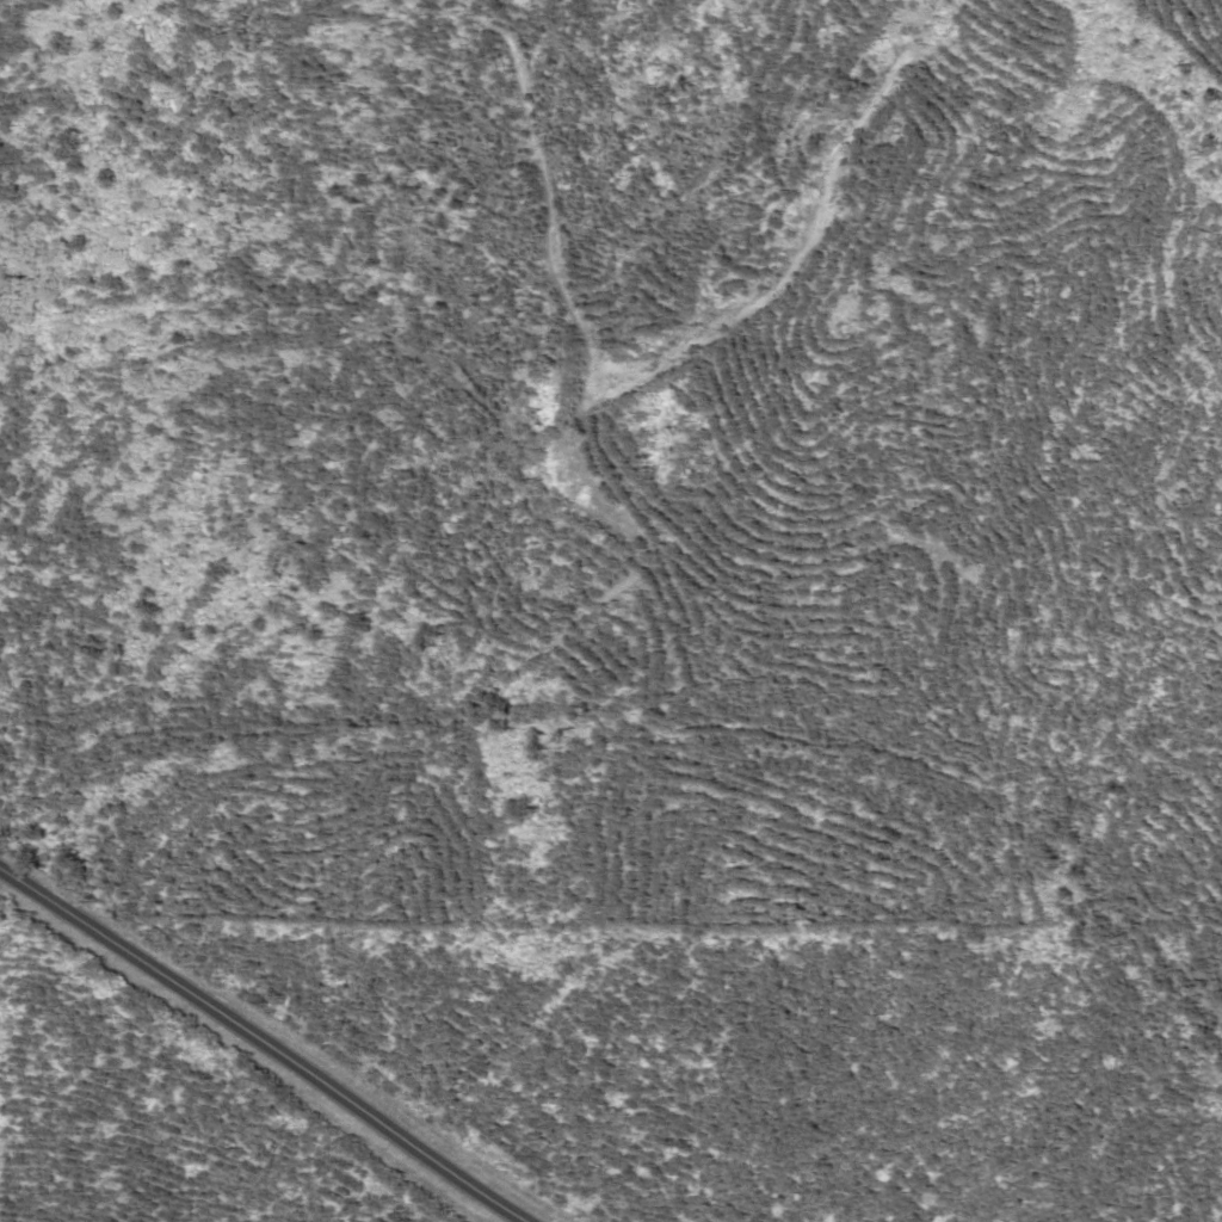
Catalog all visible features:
road: (259, 1047)

